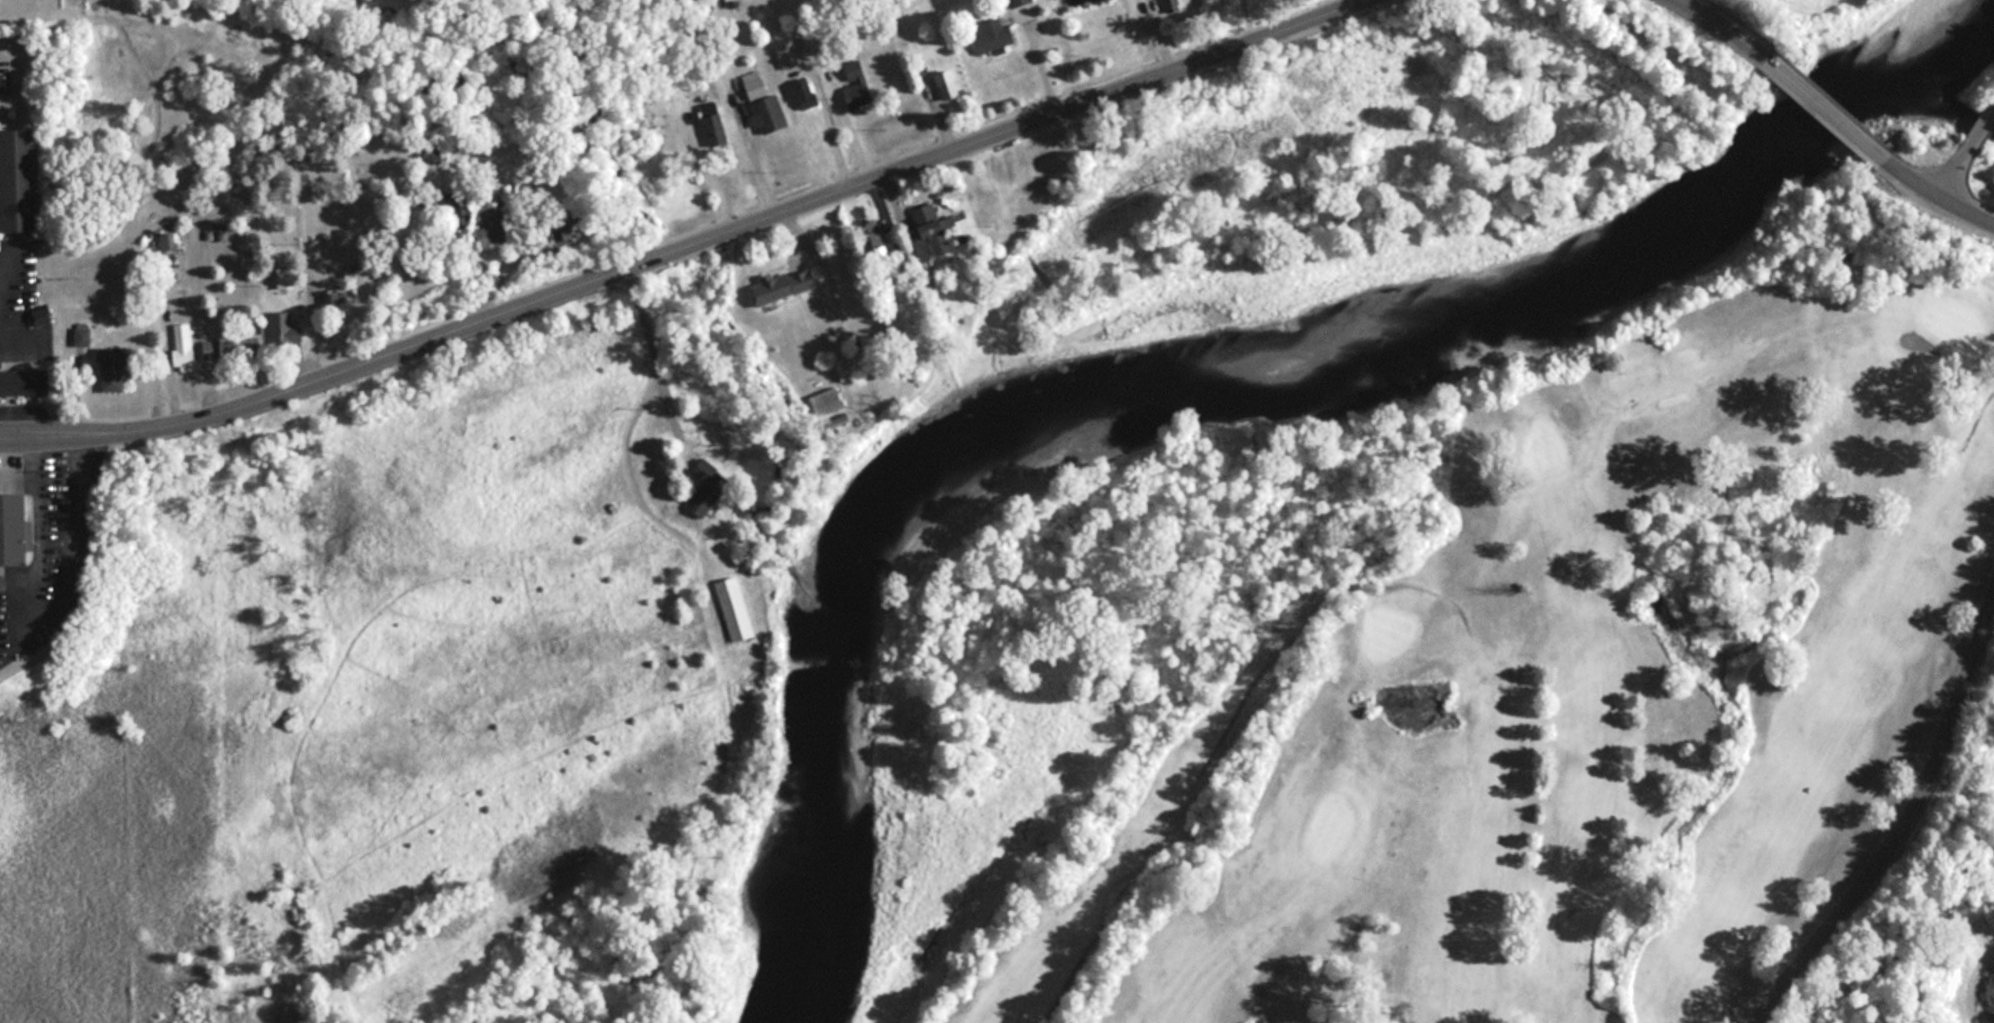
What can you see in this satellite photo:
building: (1021, 2)
building: (1173, 6)
park: (350, 12)
road: (1715, 20)
building: (995, 36)
building: (789, 54)
road: (1035, 58)
building: (759, 83)
building: (857, 85)
building: (949, 86)
building: (801, 91)
road: (1821, 106)
building: (771, 114)
building: (715, 123)
road: (1981, 126)
road: (744, 147)
road: (1953, 172)
building: (1013, 174)
building: (20, 183)
road: (1940, 199)
building: (932, 232)
building: (499, 234)
building: (170, 242)
road: (683, 246)
building: (782, 266)
road: (389, 274)
building: (288, 280)
road: (828, 284)
building: (334, 306)
building: (285, 329)
building: (185, 347)
building: (232, 350)
river: (1200, 357)
road: (656, 366)
building: (113, 370)
building: (26, 382)
building: (829, 401)
building: (710, 485)
building: (16, 529)
building: (736, 609)
park: (1534, 674)
road: (1905, 827)

